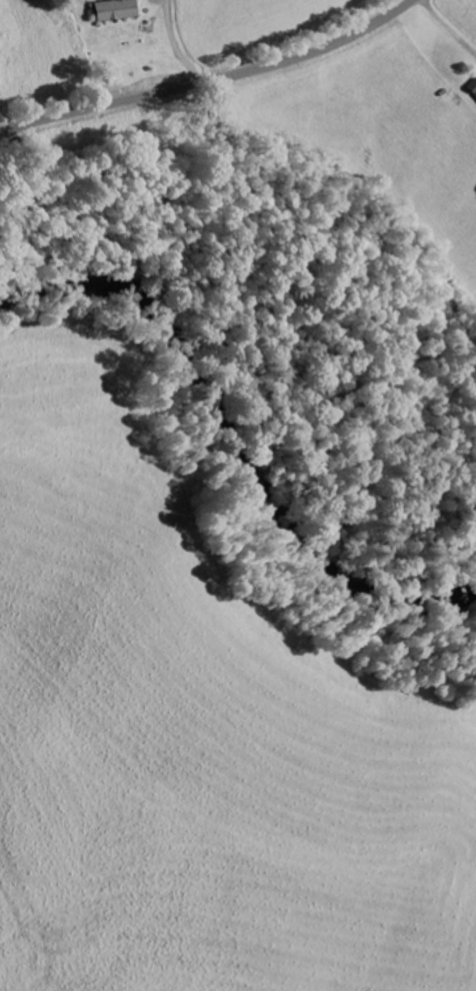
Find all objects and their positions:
building: (115, 12)
road: (176, 45)
road: (211, 81)
building: (473, 90)
river: (227, 449)

